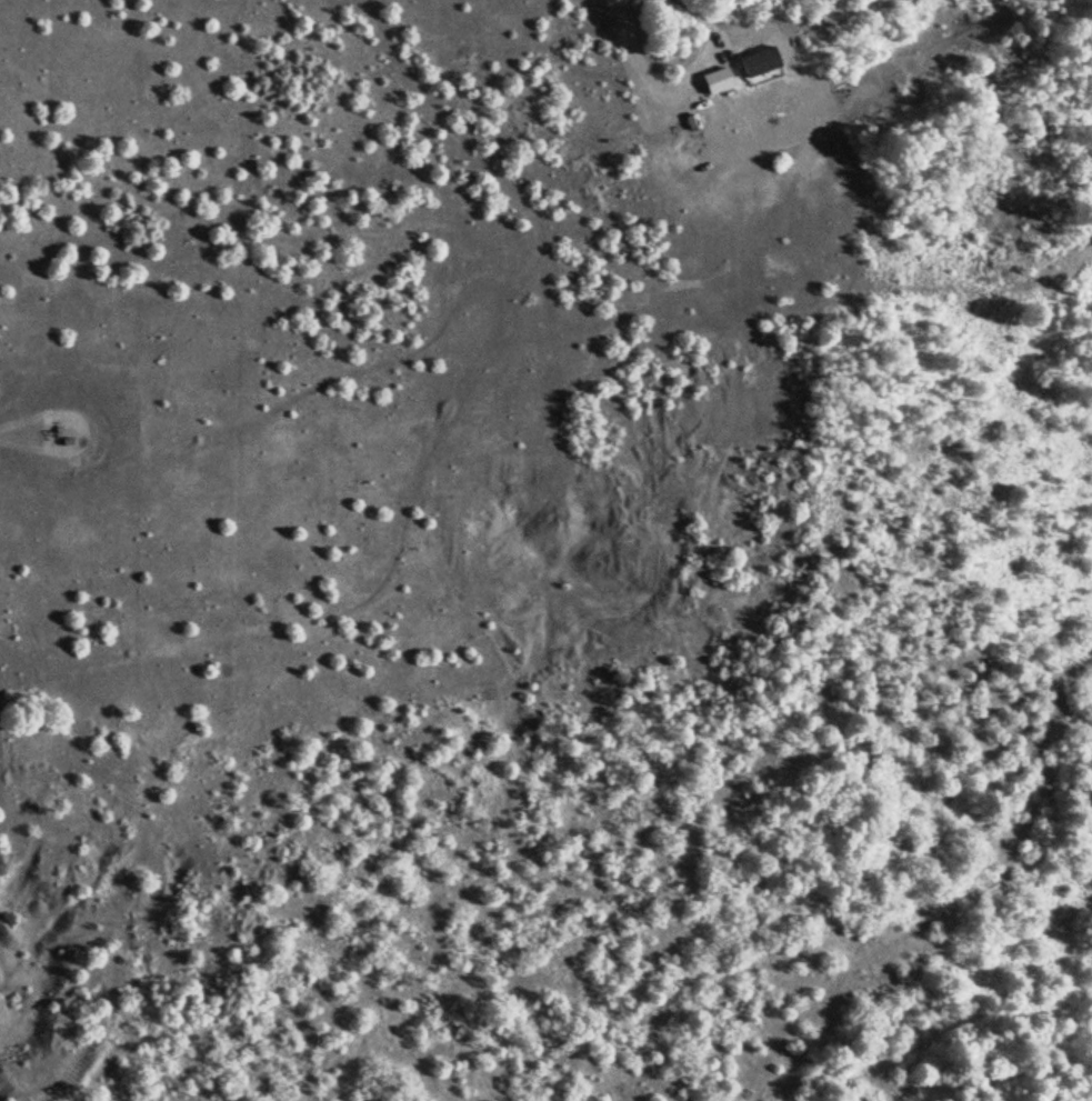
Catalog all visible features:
building: (758, 62)
road: (99, 432)
petroleum well: (56, 436)

